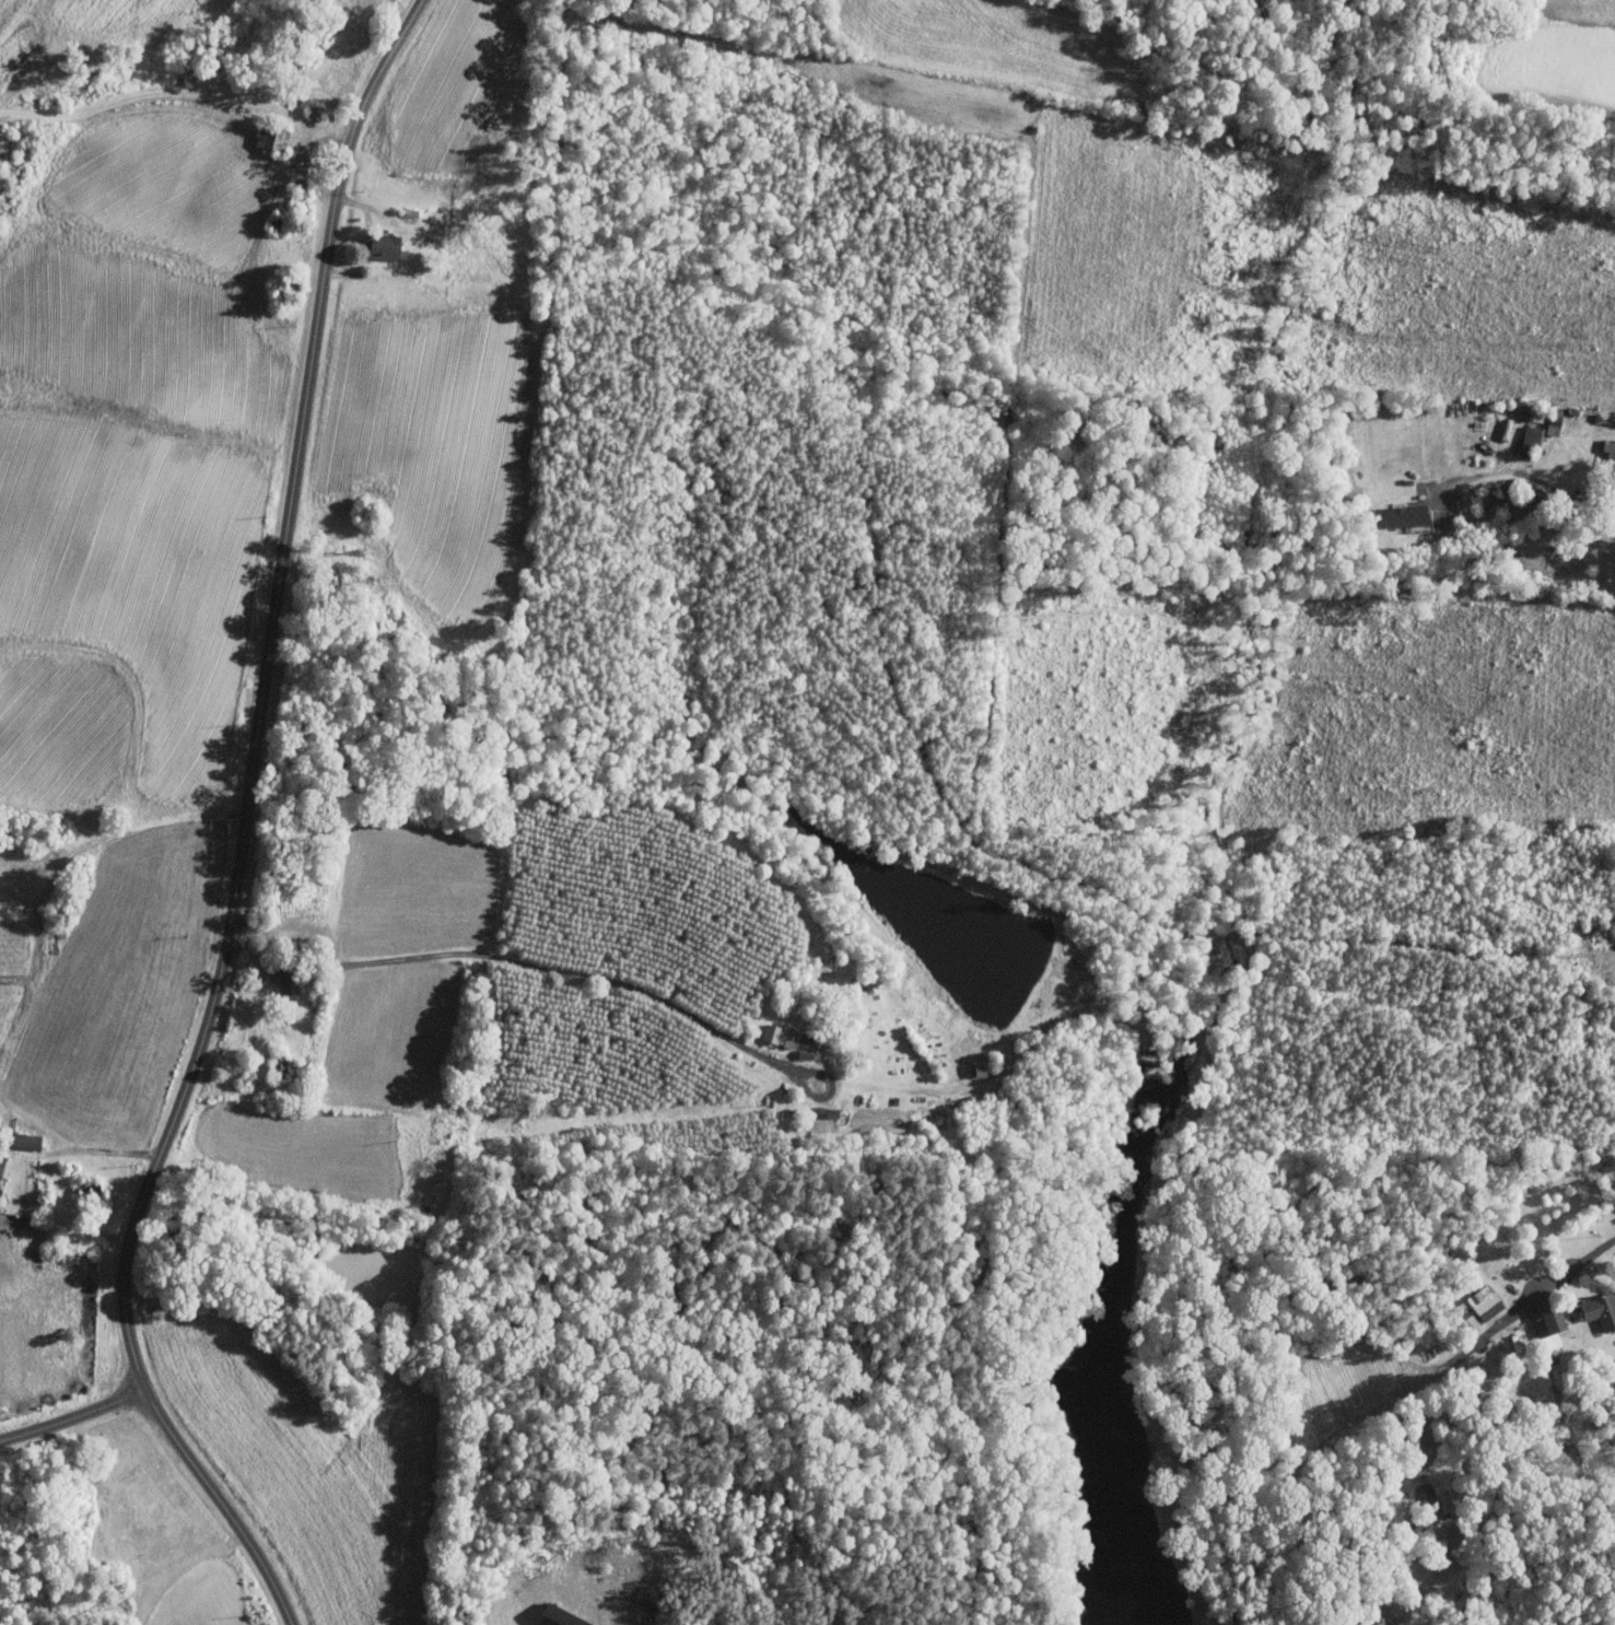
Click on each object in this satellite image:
road: (313, 151)
building: (386, 246)
building: (1541, 434)
building: (1608, 451)
road: (1529, 475)
building: (1405, 515)
road: (244, 832)
road: (512, 958)
building: (782, 1034)
building: (809, 1047)
road: (102, 1150)
building: (2, 1167)
road: (1578, 1262)
building: (1481, 1303)
building: (1598, 1309)
building: (1462, 1322)
building: (1550, 1326)
road: (74, 1422)
building: (562, 1616)

